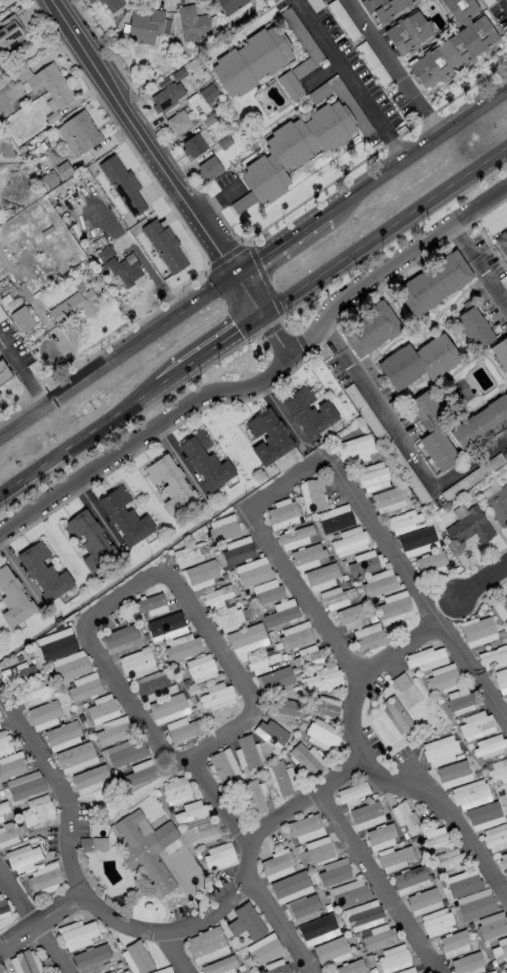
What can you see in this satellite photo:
road: (506, 0)
building: (89, 1)
building: (112, 4)
building: (230, 5)
building: (385, 10)
building: (457, 12)
building: (192, 23)
building: (144, 25)
building: (10, 34)
building: (406, 35)
road: (381, 48)
building: (451, 56)
building: (251, 60)
building: (300, 69)
road: (321, 70)
road: (351, 81)
building: (289, 85)
building: (48, 88)
building: (207, 92)
building: (166, 96)
road: (429, 116)
building: (177, 122)
building: (81, 131)
building: (66, 139)
building: (193, 145)
building: (293, 149)
road: (417, 153)
road: (161, 158)
building: (209, 168)
building: (57, 174)
building: (122, 184)
building: (242, 202)
road: (387, 235)
building: (502, 241)
road: (283, 242)
building: (164, 245)
road: (481, 263)
building: (120, 267)
road: (392, 267)
traffic signals: (238, 272)
building: (432, 285)
building: (7, 291)
building: (74, 306)
building: (22, 318)
traffic signals: (268, 318)
building: (471, 330)
building: (367, 332)
road: (119, 353)
road: (214, 354)
building: (500, 356)
building: (416, 365)
road: (21, 372)
building: (5, 376)
building: (308, 411)
road: (282, 415)
building: (479, 424)
road: (161, 428)
building: (430, 433)
building: (268, 436)
road: (401, 440)
road: (80, 445)
building: (355, 447)
building: (205, 460)
road: (182, 462)
building: (373, 476)
building: (170, 485)
building: (314, 494)
building: (388, 499)
building: (498, 505)
building: (282, 515)
road: (102, 516)
building: (125, 516)
building: (335, 518)
building: (403, 521)
building: (470, 526)
building: (222, 528)
building: (295, 537)
building: (90, 540)
road: (271, 541)
building: (349, 541)
building: (237, 550)
building: (189, 553)
building: (306, 553)
building: (430, 561)
building: (364, 562)
building: (43, 571)
building: (253, 571)
building: (201, 572)
road: (21, 573)
building: (321, 576)
road: (154, 580)
road: (483, 581)
building: (378, 582)
building: (266, 591)
building: (216, 596)
building: (335, 597)
building: (13, 598)
building: (147, 602)
building: (504, 603)
building: (393, 607)
building: (281, 612)
building: (351, 616)
building: (228, 618)
building: (165, 623)
building: (477, 631)
building: (294, 636)
building: (368, 637)
building: (120, 638)
building: (56, 643)
building: (182, 646)
road: (395, 649)
building: (308, 656)
building: (493, 657)
building: (425, 658)
building: (136, 663)
building: (262, 663)
building: (70, 665)
building: (200, 667)
building: (15, 671)
building: (276, 678)
building: (324, 678)
building: (443, 678)
building: (501, 680)
building: (84, 687)
building: (152, 687)
building: (34, 693)
building: (216, 696)
building: (460, 701)
building: (323, 705)
building: (101, 706)
building: (283, 708)
building: (398, 714)
building: (43, 715)
building: (475, 725)
building: (183, 730)
building: (114, 733)
building: (62, 735)
building: (322, 735)
building: (5, 741)
building: (489, 746)
building: (440, 750)
building: (126, 751)
building: (247, 752)
building: (75, 757)
building: (307, 759)
building: (223, 765)
building: (12, 767)
building: (498, 771)
building: (141, 772)
building: (453, 774)
building: (280, 778)
building: (90, 779)
building: (25, 787)
building: (176, 791)
building: (506, 792)
building: (352, 793)
building: (470, 794)
building: (257, 796)
building: (4, 806)
building: (37, 810)
building: (190, 811)
building: (365, 814)
building: (405, 817)
building: (305, 827)
building: (12, 831)
building: (379, 836)
building: (495, 837)
building: (434, 839)
building: (93, 843)
building: (147, 847)
building: (318, 851)
building: (219, 856)
building: (23, 858)
building: (393, 858)
building: (449, 859)
building: (503, 861)
building: (277, 865)
road: (256, 868)
building: (334, 872)
building: (44, 876)
building: (410, 880)
road: (377, 883)
building: (290, 887)
building: (349, 893)
building: (423, 901)
building: (3, 906)
building: (475, 907)
building: (301, 908)
building: (362, 916)
road: (36, 920)
building: (436, 922)
road: (42, 925)
building: (491, 925)
building: (244, 926)
road: (147, 931)
building: (318, 931)
building: (76, 934)
building: (377, 936)
building: (205, 941)
building: (454, 943)
building: (500, 948)
building: (331, 951)
road: (182, 952)
building: (90, 957)
building: (136, 957)
building: (392, 959)
building: (25, 962)
building: (506, 962)
building: (467, 964)
building: (220, 965)
building: (277, 967)
building: (350, 967)
building: (163, 970)
building: (406, 970)
building: (505, 970)
building: (123, 971)
building: (109, 972)
building: (494, 972)

